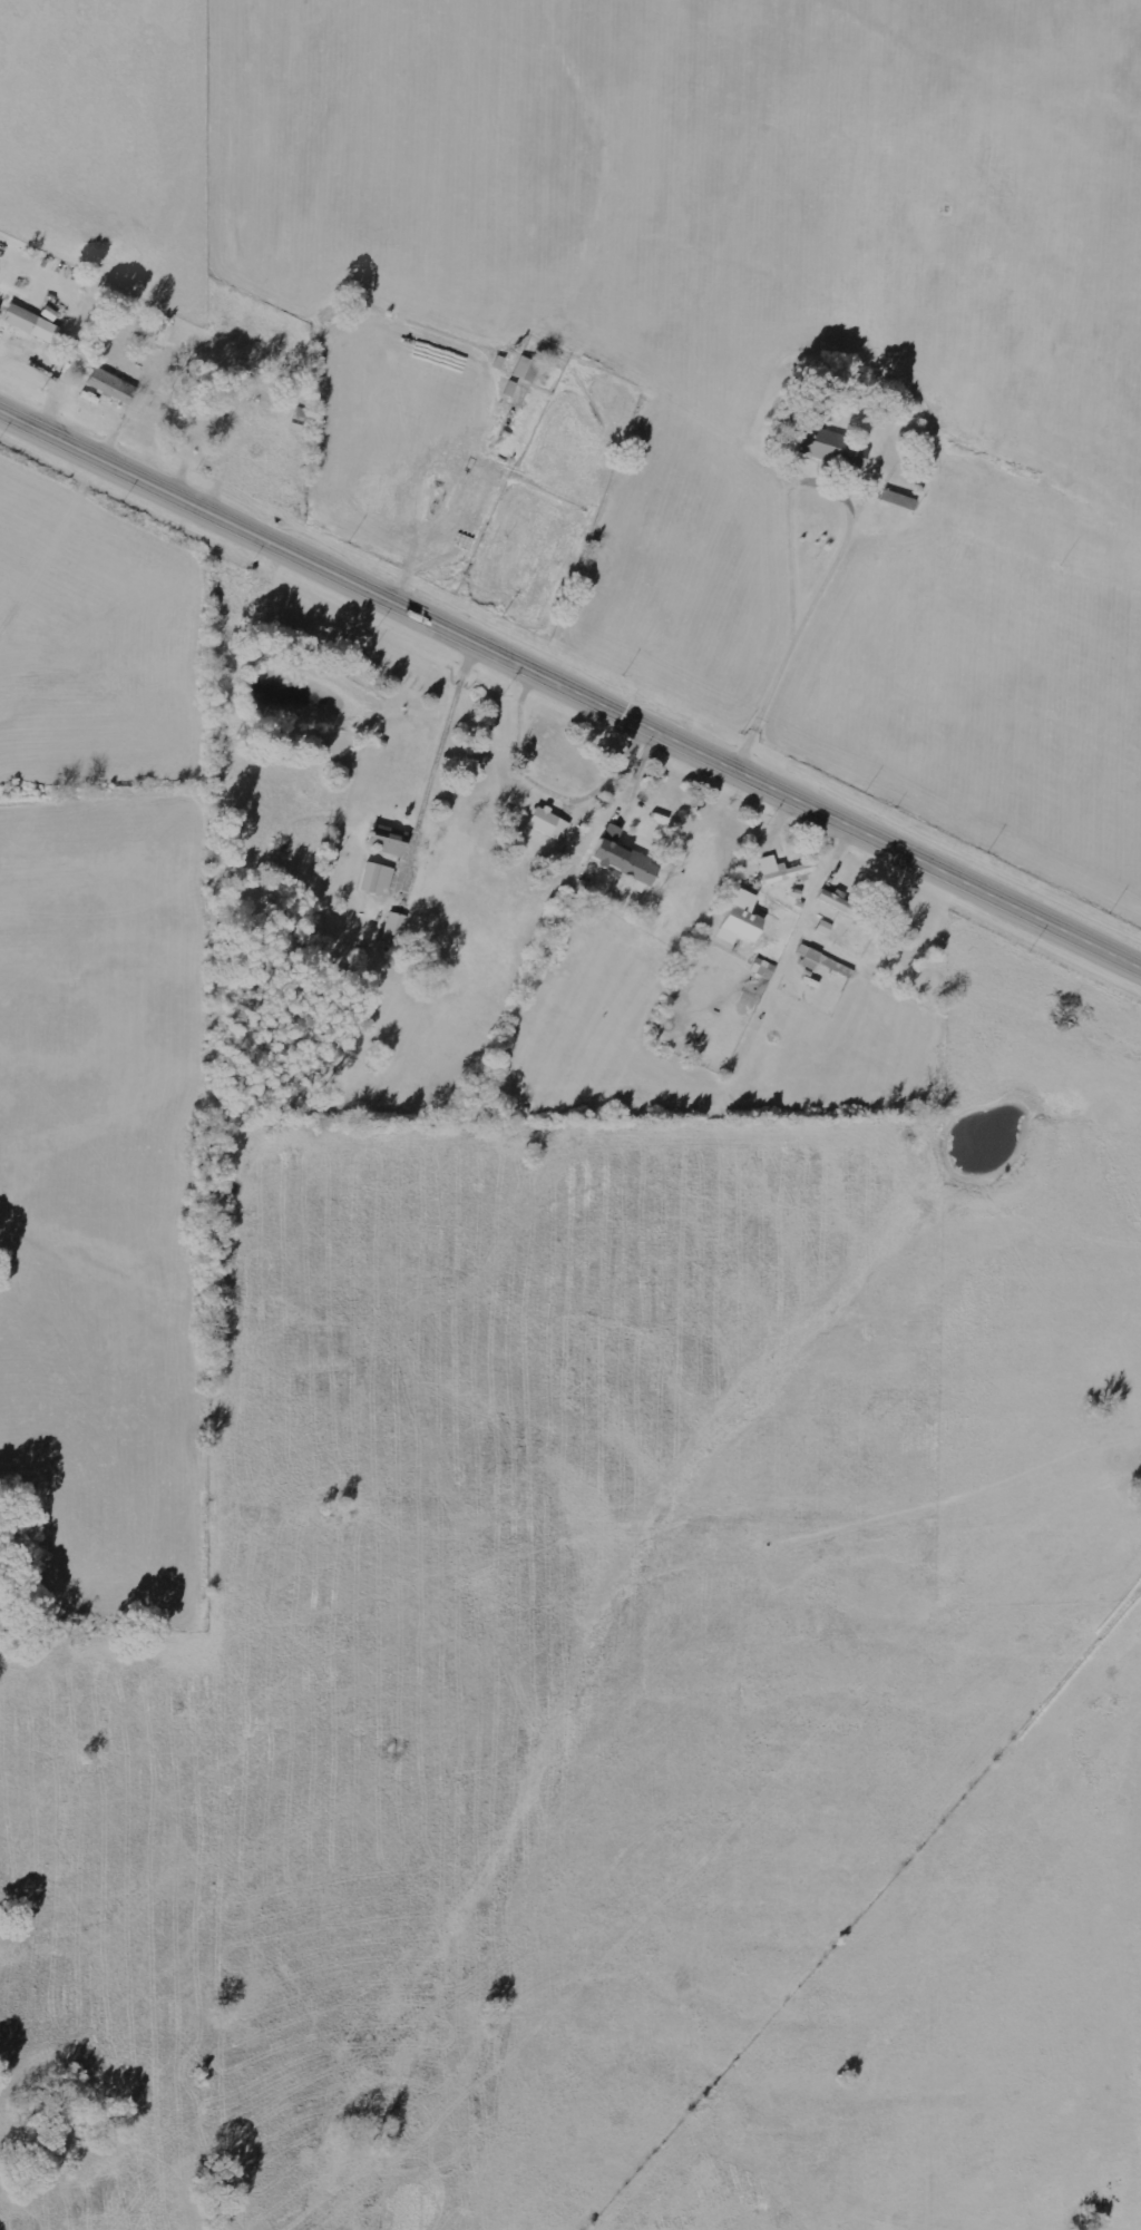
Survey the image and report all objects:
building: (29, 322)
building: (527, 369)
building: (113, 384)
road: (671, 393)
building: (835, 449)
road: (847, 530)
road: (569, 682)
building: (550, 823)
building: (389, 842)
building: (624, 857)
building: (782, 869)
building: (378, 879)
building: (840, 902)
building: (826, 928)
building: (823, 961)

